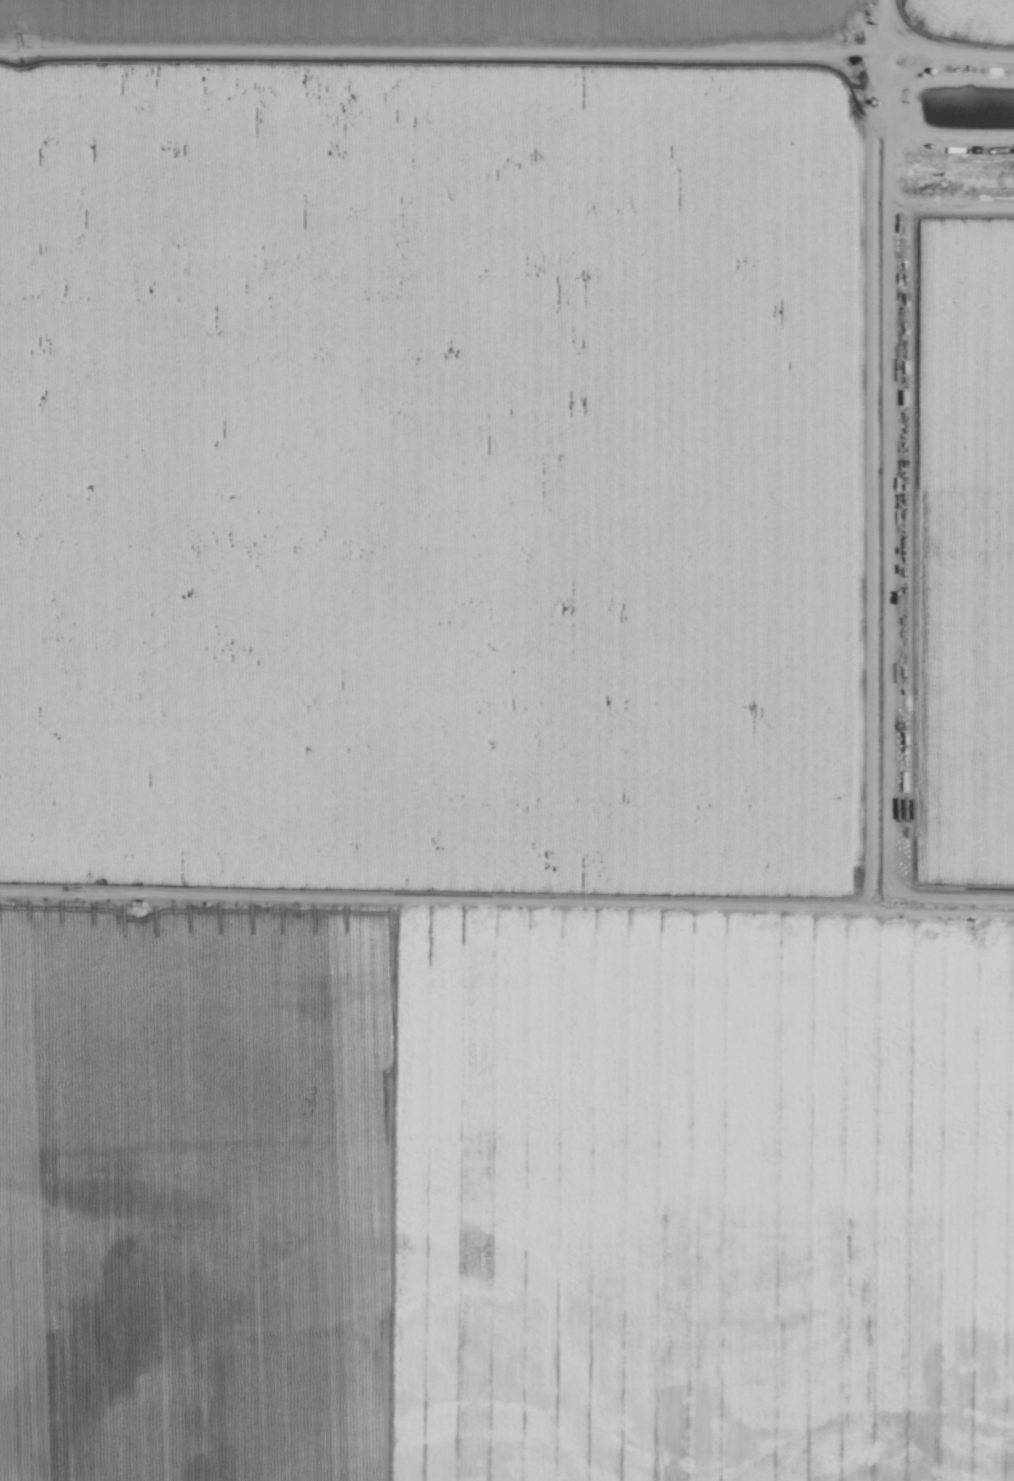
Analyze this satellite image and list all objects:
road: (926, 47)

